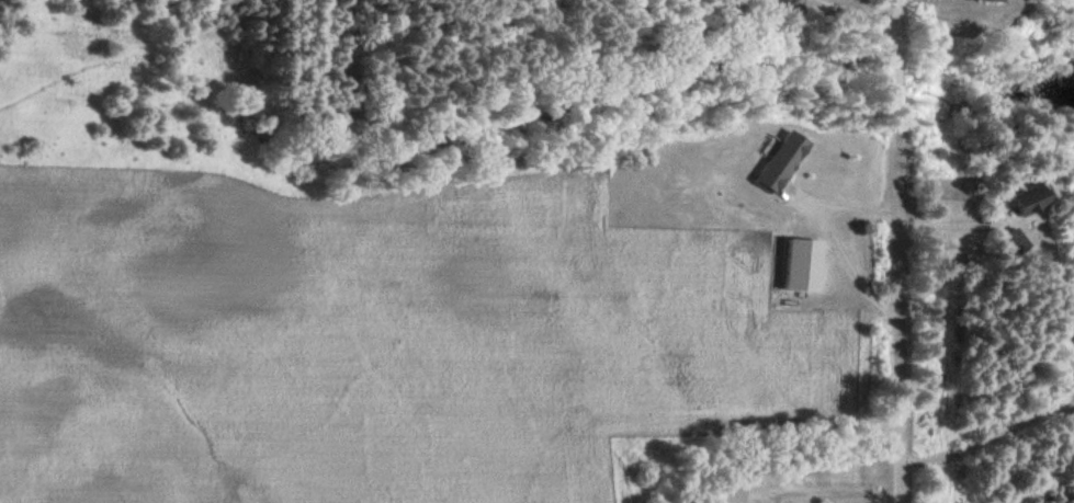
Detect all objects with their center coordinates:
building: (779, 159)
building: (1010, 197)
building: (1005, 240)
road: (897, 251)
building: (726, 489)

